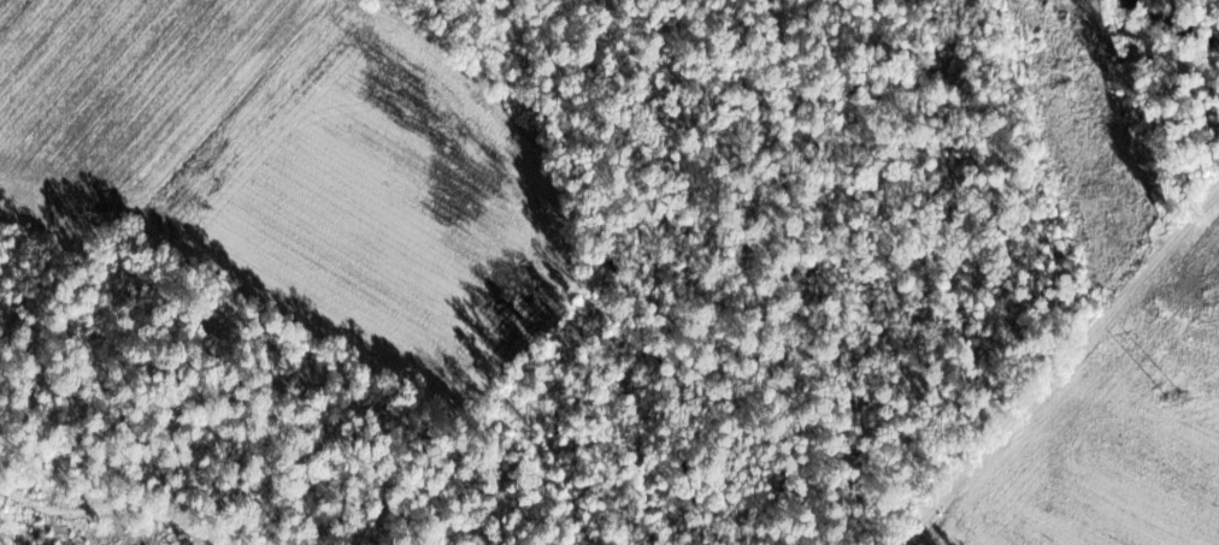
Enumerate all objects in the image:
road: (1052, 379)
power tower: (1172, 392)

